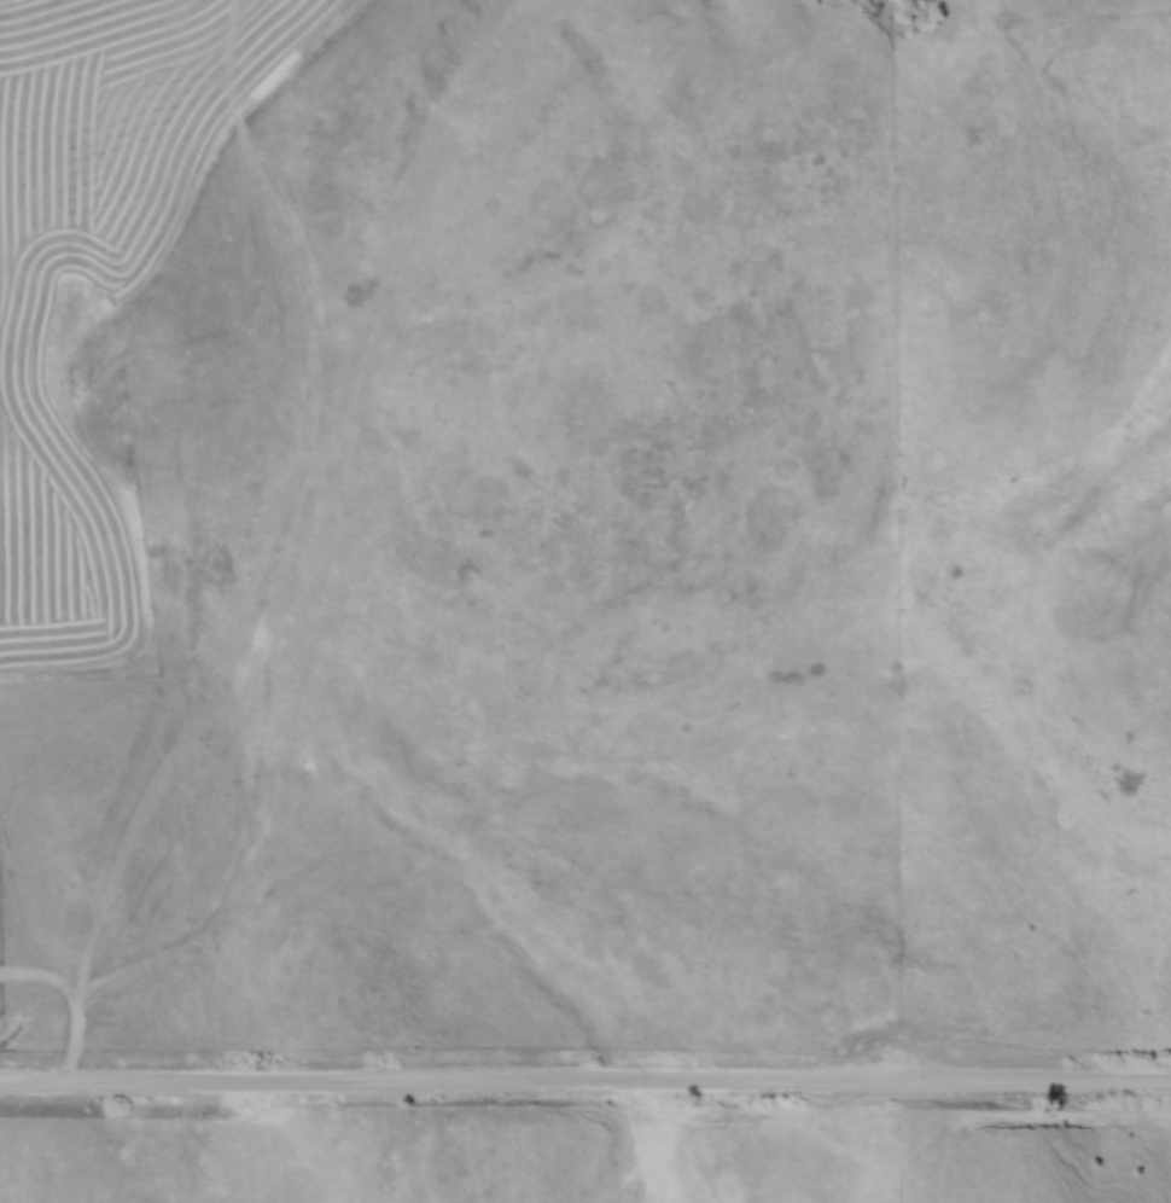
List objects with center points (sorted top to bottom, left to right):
road: (584, 1080)

